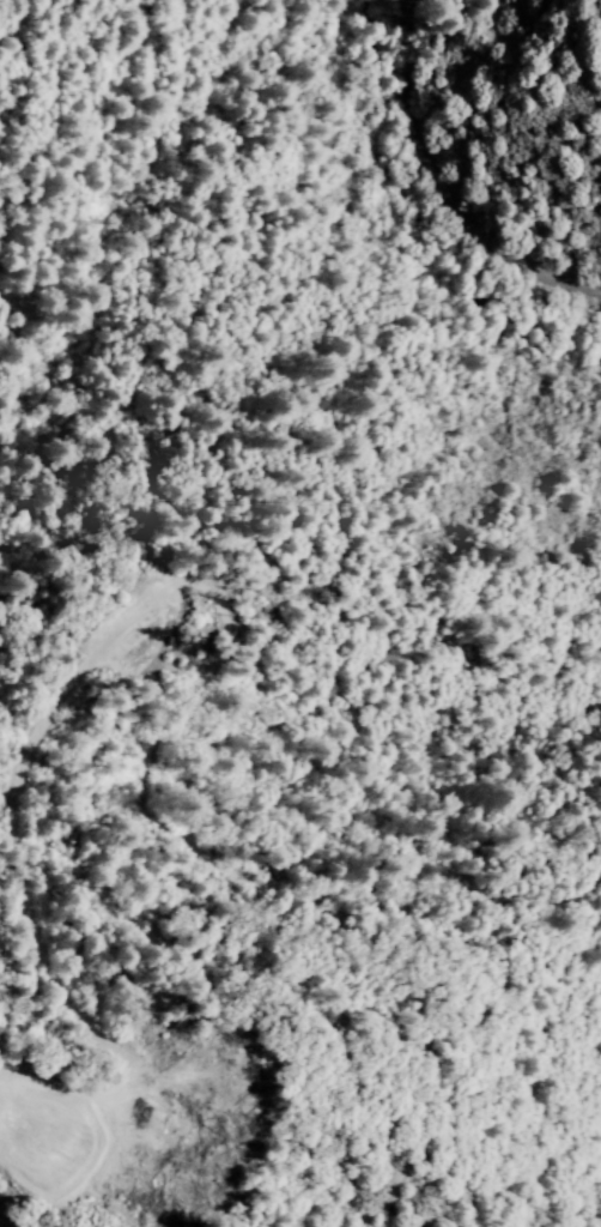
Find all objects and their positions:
road: (441, 191)

